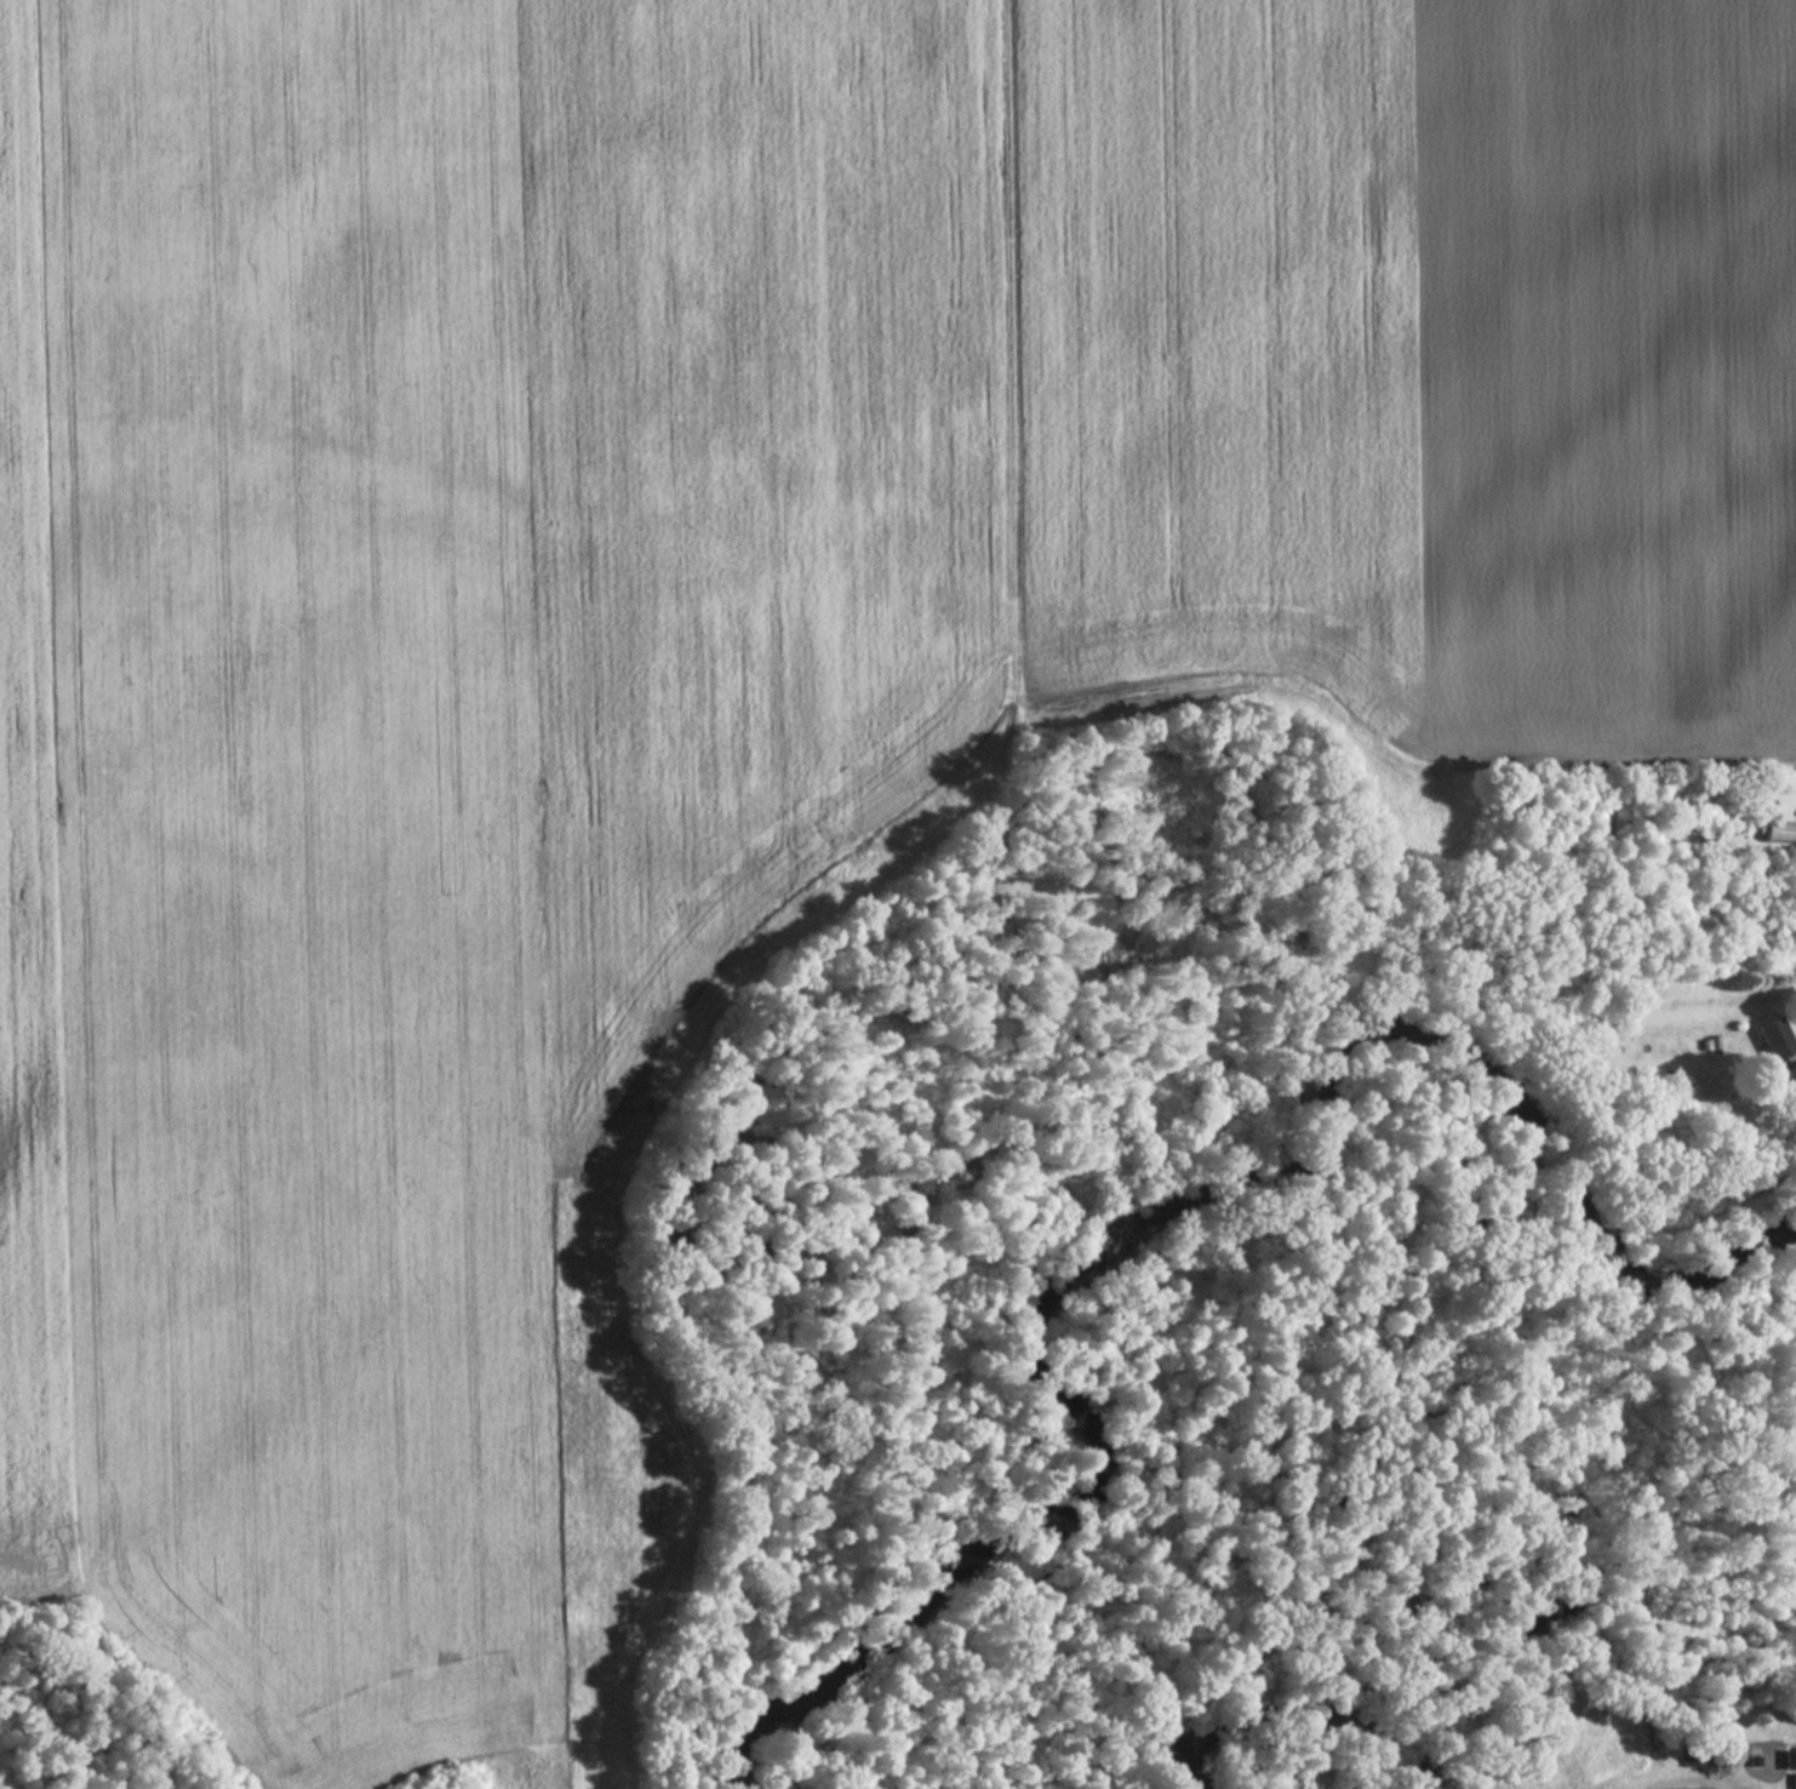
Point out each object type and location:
crop: (745, 659)
building: (1778, 831)
crop: (21, 941)
building: (1773, 1041)

